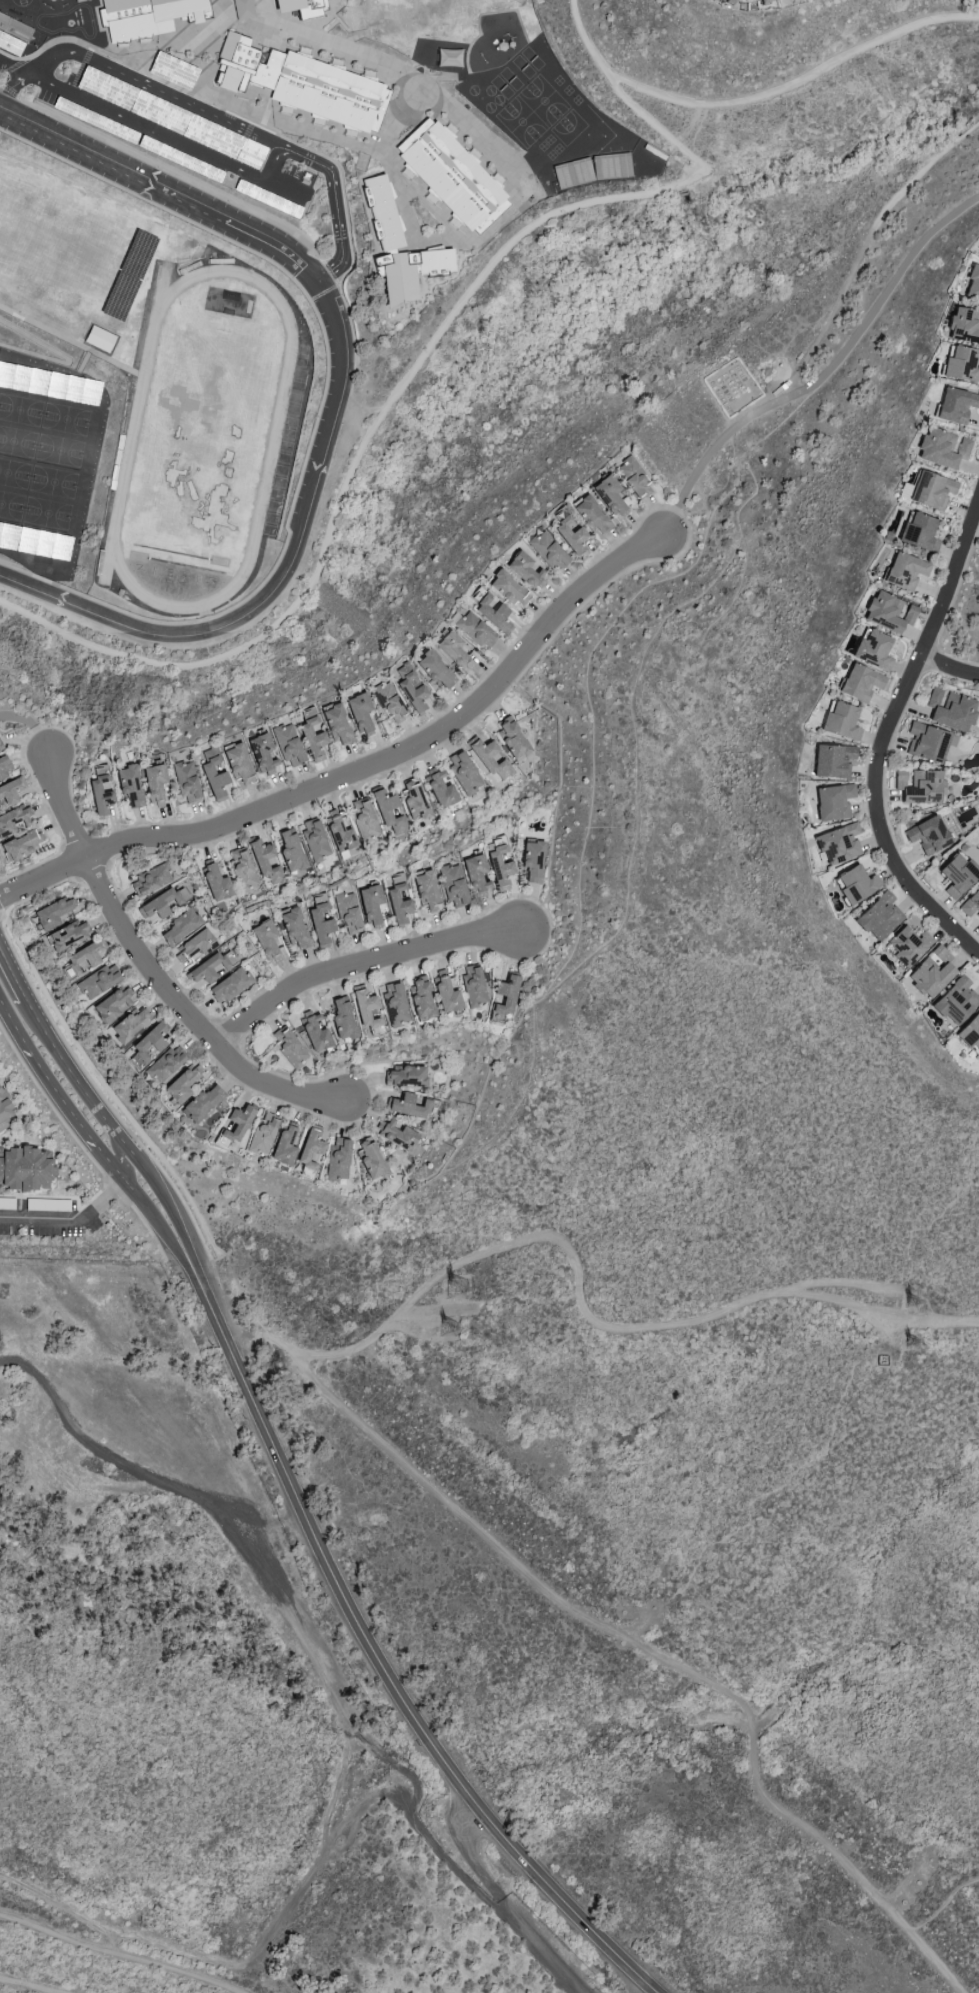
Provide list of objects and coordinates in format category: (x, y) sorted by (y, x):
building: (730, 1)
building: (765, 1)
building: (302, 7)
building: (243, 9)
road: (260, 10)
building: (148, 16)
road: (322, 19)
road: (230, 21)
building: (15, 28)
road: (354, 34)
building: (10, 44)
road: (344, 47)
road: (192, 58)
road: (161, 59)
road: (15, 63)
road: (13, 66)
road: (798, 76)
road: (436, 77)
road: (3, 79)
building: (303, 83)
road: (10, 92)
park: (543, 100)
road: (212, 115)
park: (521, 121)
park: (567, 127)
road: (164, 129)
road: (270, 131)
parking lot: (182, 137)
road: (350, 143)
road: (571, 150)
road: (649, 154)
road: (681, 168)
building: (572, 173)
road: (174, 174)
building: (451, 175)
road: (283, 186)
road: (976, 196)
building: (382, 212)
road: (499, 219)
road: (864, 245)
building: (410, 272)
road: (330, 273)
road: (451, 275)
building: (973, 283)
road: (322, 292)
building: (964, 325)
building: (99, 338)
road: (71, 341)
road: (66, 358)
road: (833, 361)
road: (38, 363)
building: (961, 364)
road: (411, 367)
road: (350, 393)
road: (339, 404)
building: (956, 405)
road: (361, 408)
park: (20, 409)
road: (318, 410)
road: (738, 413)
park: (65, 419)
park: (203, 428)
track: (201, 440)
park: (17, 442)
building: (941, 449)
park: (59, 450)
park: (14, 474)
building: (634, 479)
park: (52, 482)
building: (932, 490)
building: (610, 496)
park: (11, 507)
park: (46, 514)
building: (592, 515)
road: (671, 522)
building: (919, 532)
building: (571, 536)
building: (549, 551)
building: (526, 570)
building: (905, 571)
building: (508, 588)
road: (948, 608)
building: (887, 612)
building: (494, 613)
building: (474, 629)
building: (873, 650)
building: (454, 651)
road: (949, 668)
building: (436, 670)
building: (860, 683)
building: (411, 687)
building: (390, 703)
building: (950, 709)
building: (362, 714)
building: (841, 721)
building: (338, 726)
road: (32, 728)
road: (419, 728)
road: (885, 734)
building: (313, 738)
building: (513, 740)
road: (444, 742)
building: (927, 742)
building: (288, 745)
building: (1, 747)
building: (263, 752)
building: (488, 759)
building: (833, 761)
building: (238, 764)
building: (4, 766)
road: (70, 769)
road: (363, 771)
building: (464, 773)
building: (214, 774)
building: (187, 782)
building: (130, 784)
building: (155, 784)
building: (920, 786)
road: (36, 787)
building: (441, 789)
building: (101, 790)
building: (10, 791)
building: (415, 799)
building: (833, 802)
building: (389, 812)
building: (13, 819)
building: (364, 819)
building: (340, 835)
building: (928, 835)
road: (76, 840)
building: (315, 840)
building: (838, 843)
building: (21, 845)
road: (102, 847)
building: (290, 850)
building: (533, 861)
road: (68, 862)
building: (266, 862)
road: (31, 865)
building: (500, 867)
road: (93, 868)
building: (243, 869)
building: (476, 874)
building: (957, 875)
building: (151, 879)
building: (216, 883)
building: (856, 884)
building: (453, 885)
building: (427, 891)
road: (38, 893)
building: (398, 898)
building: (159, 904)
building: (371, 904)
building: (971, 904)
road: (2, 911)
building: (349, 913)
building: (53, 914)
road: (2, 915)
building: (879, 917)
building: (321, 919)
building: (180, 926)
building: (295, 929)
building: (66, 935)
building: (266, 941)
building: (194, 945)
building: (908, 946)
building: (84, 957)
road: (394, 966)
building: (207, 969)
road: (361, 969)
road: (153, 973)
building: (931, 973)
building: (98, 981)
building: (230, 985)
building: (473, 986)
building: (446, 995)
building: (505, 997)
building: (421, 998)
building: (956, 1002)
building: (395, 1004)
building: (113, 1005)
building: (365, 1007)
building: (342, 1018)
building: (129, 1025)
building: (315, 1033)
building: (970, 1033)
road: (227, 1035)
building: (147, 1044)
building: (289, 1047)
building: (165, 1064)
building: (406, 1076)
building: (183, 1083)
road: (109, 1091)
road: (97, 1092)
building: (202, 1103)
building: (409, 1106)
building: (3, 1109)
building: (235, 1127)
building: (263, 1134)
building: (396, 1135)
road: (79, 1145)
building: (284, 1146)
building: (310, 1149)
building: (370, 1159)
building: (338, 1160)
building: (25, 1168)
road: (79, 1225)
road: (215, 1258)
power tower: (461, 1295)
power tower: (915, 1307)
road: (594, 1320)
power tower: (449, 1336)
power tower: (905, 1343)
road: (138, 1470)
road: (301, 1499)
road: (626, 1637)
road: (504, 1903)
road: (944, 1904)
landfill: (134, 1948)

